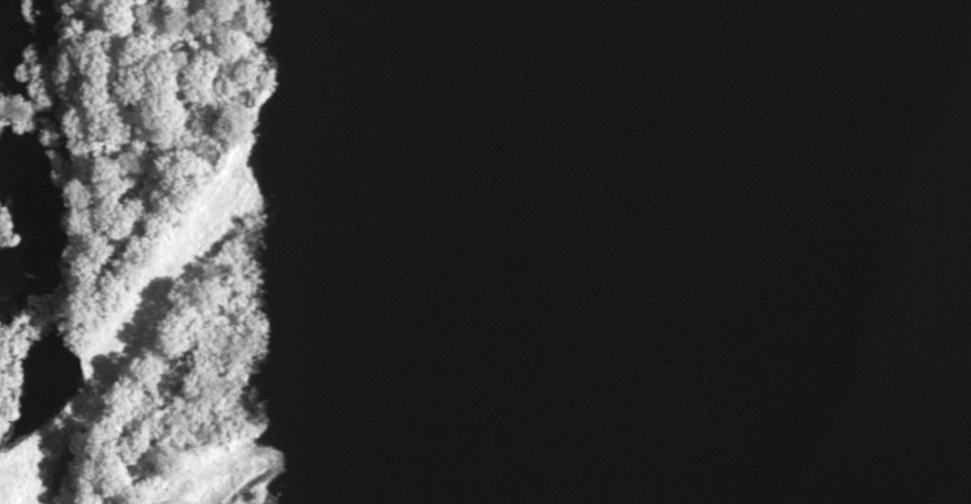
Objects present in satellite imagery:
road: (257, 480)

